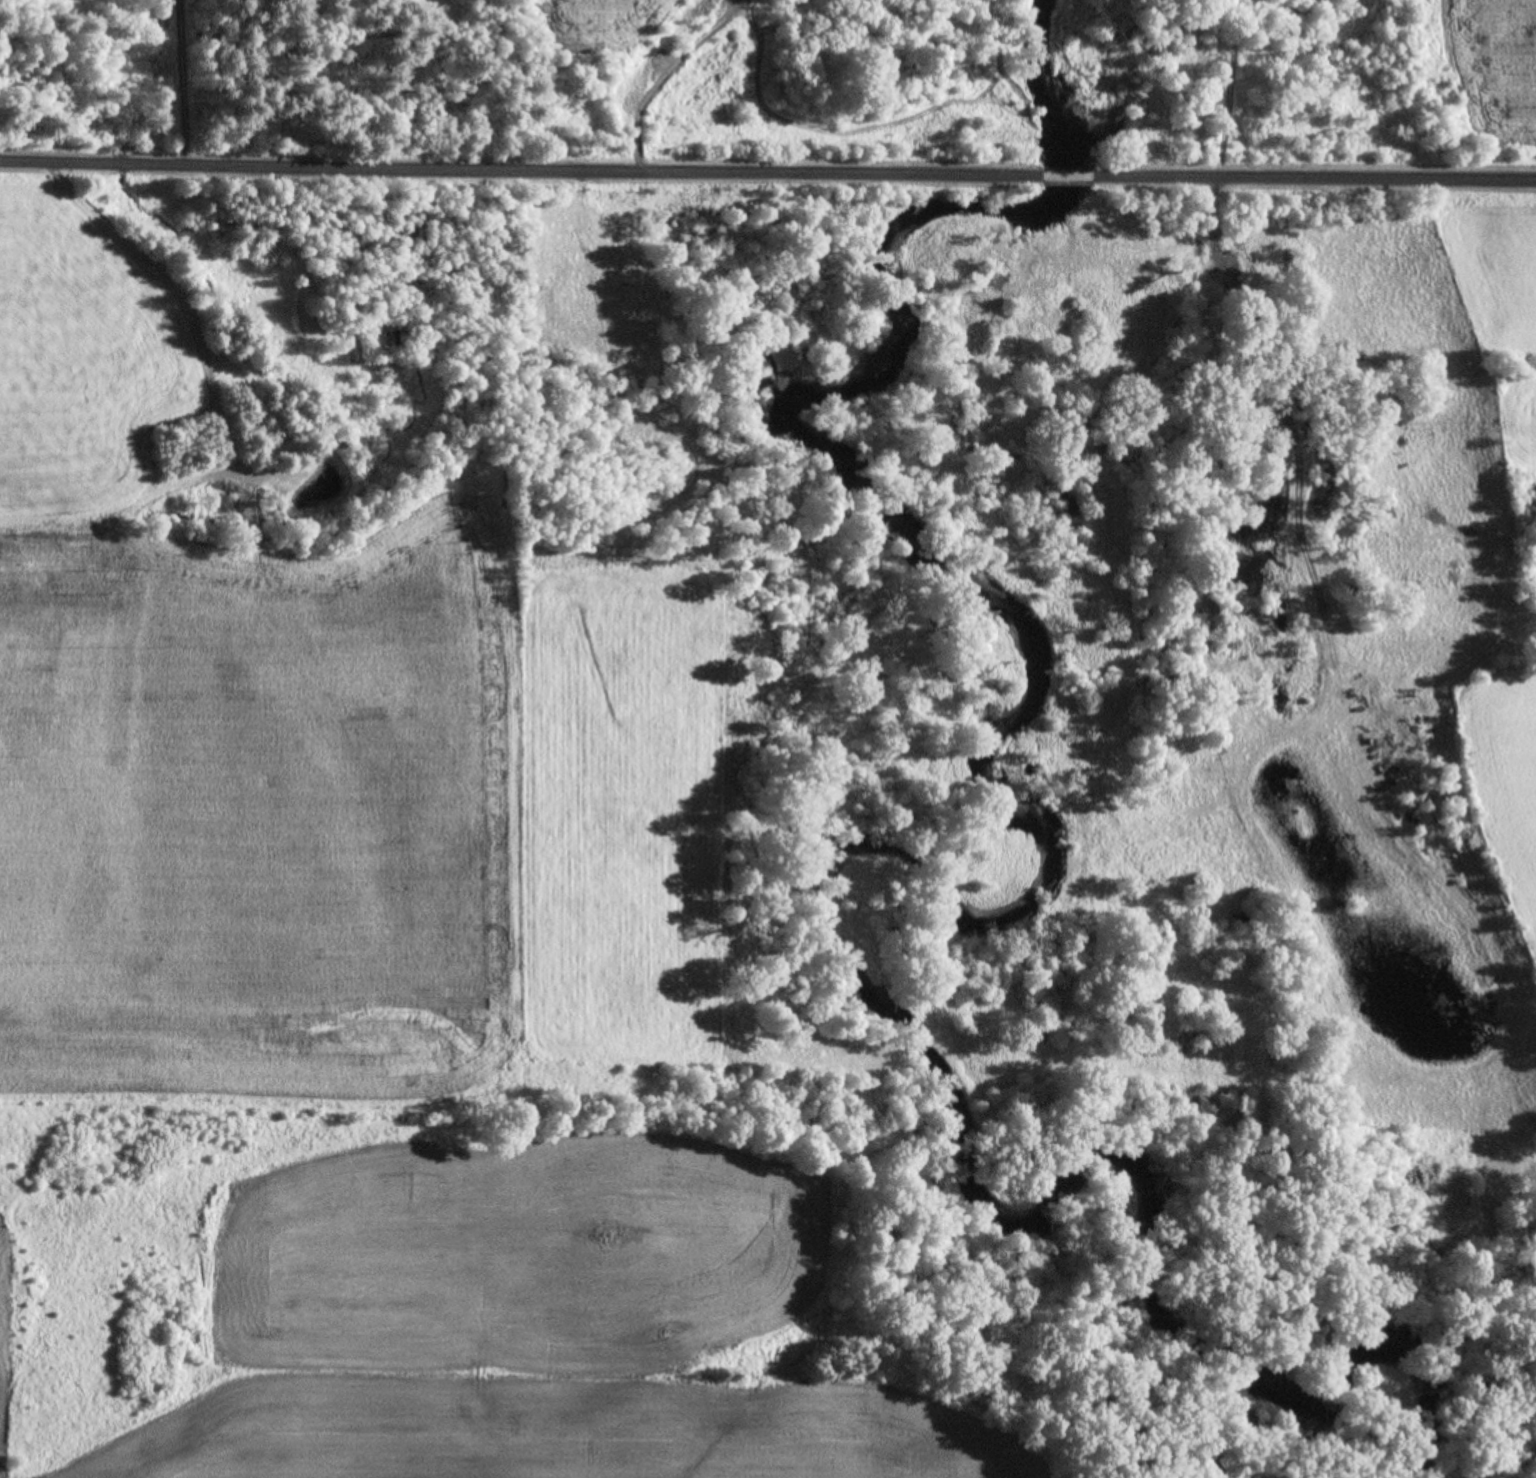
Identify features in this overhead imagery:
road: (180, 81)
river: (1080, 137)
road: (520, 172)
road: (1067, 178)
road: (1314, 180)
river: (975, 260)
river: (899, 367)
river: (1010, 621)
river: (1107, 1177)
river: (1449, 1462)

